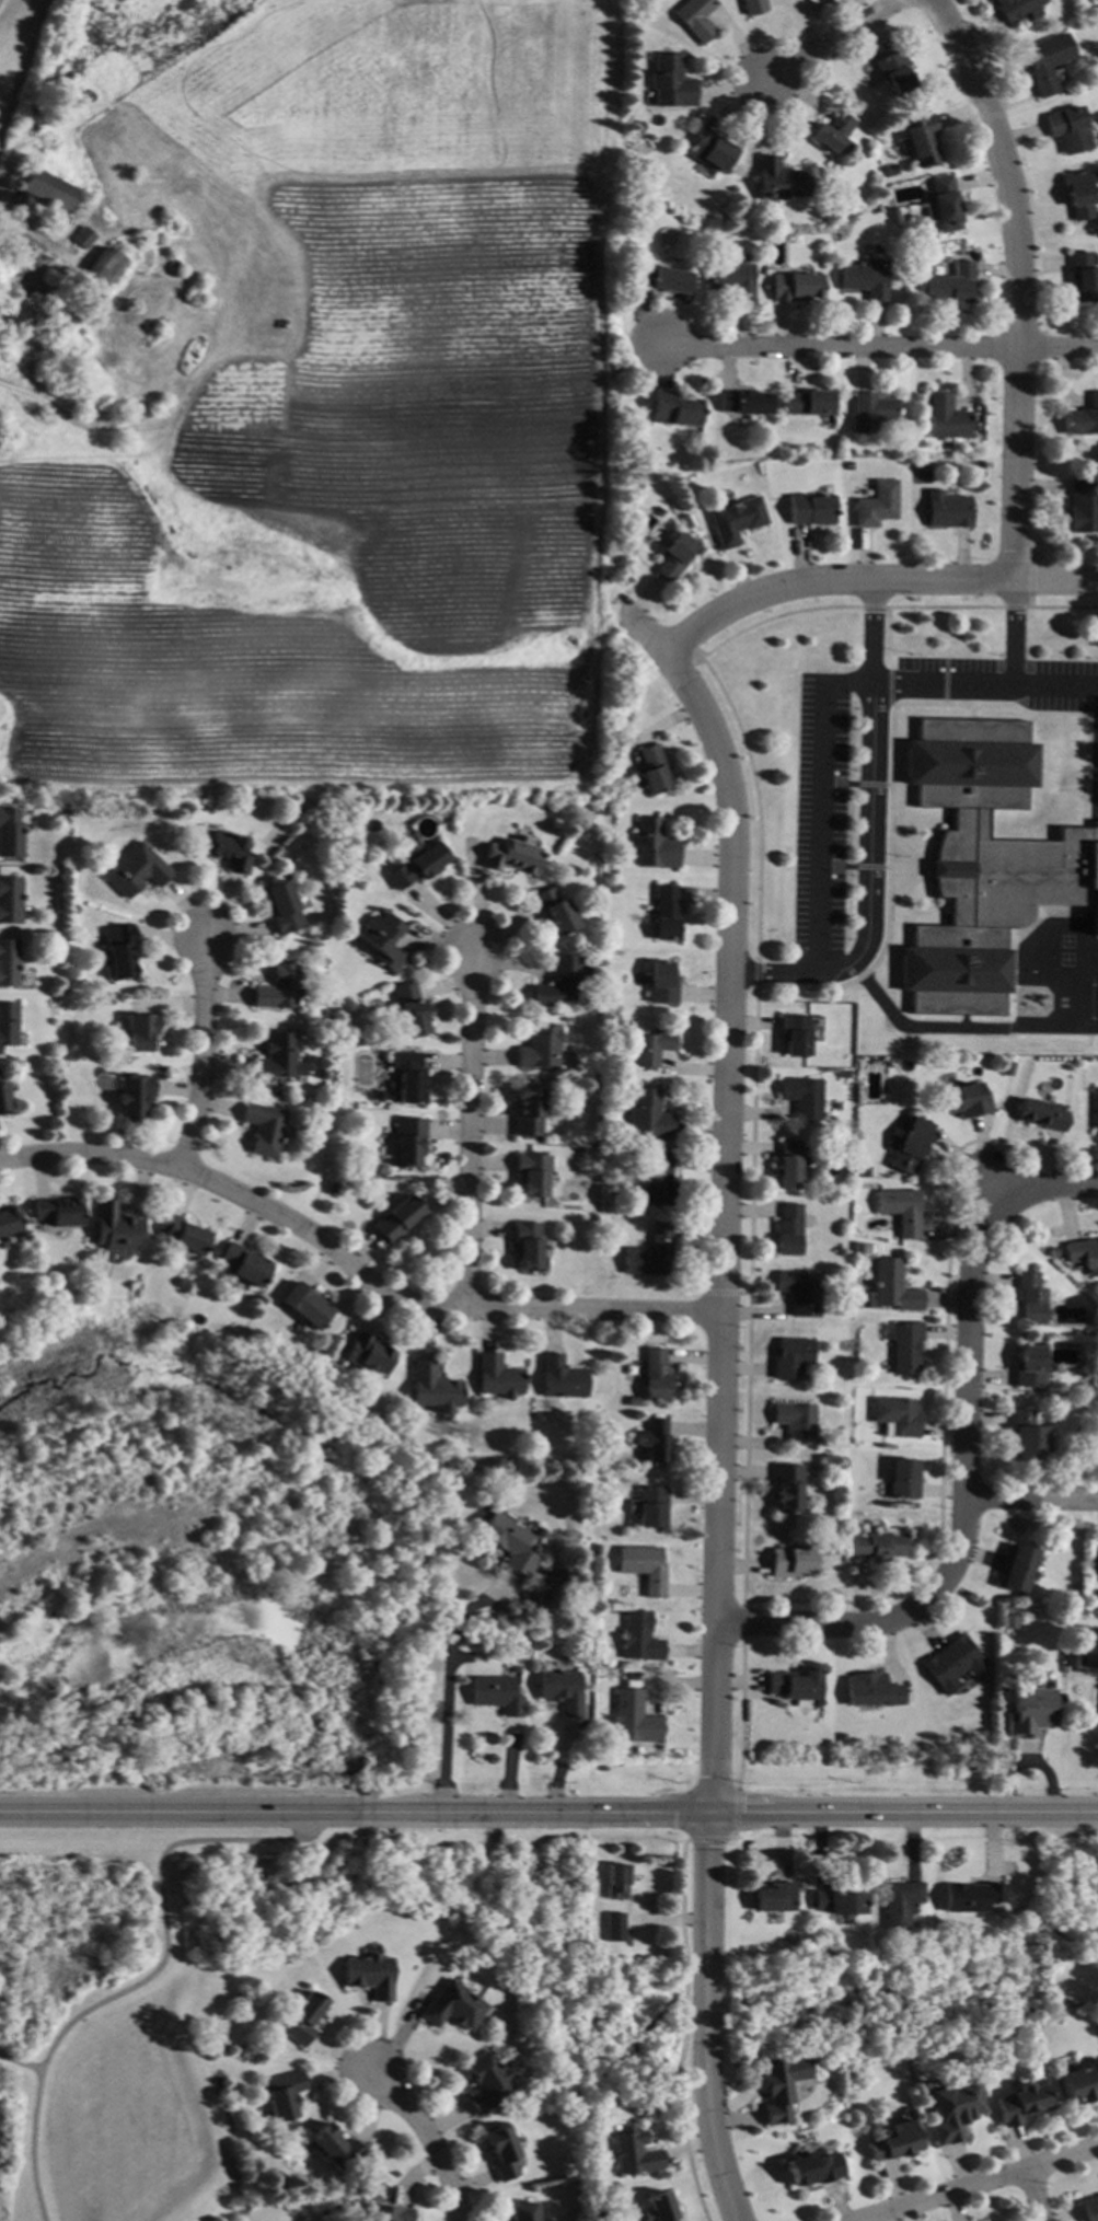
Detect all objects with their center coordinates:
building: (752, 5)
building: (1014, 8)
building: (694, 18)
road: (832, 39)
building: (1045, 61)
building: (894, 72)
building: (669, 82)
building: (59, 99)
building: (39, 123)
building: (1067, 129)
building: (831, 131)
building: (920, 139)
building: (708, 149)
building: (890, 170)
building: (777, 180)
building: (47, 189)
building: (1075, 195)
building: (944, 203)
building: (872, 207)
building: (50, 220)
road: (26, 236)
building: (82, 238)
building: (101, 270)
building: (11, 275)
building: (1082, 277)
building: (864, 278)
building: (660, 279)
building: (732, 279)
road: (1017, 279)
building: (950, 284)
building: (795, 286)
building: (47, 293)
building: (70, 312)
building: (55, 339)
road: (874, 344)
building: (38, 377)
building: (70, 379)
building: (743, 402)
building: (808, 403)
building: (86, 404)
building: (674, 408)
crop: (330, 409)
building: (870, 412)
building: (946, 417)
building: (1082, 418)
building: (876, 504)
building: (1080, 507)
building: (809, 509)
building: (947, 509)
building: (657, 510)
building: (735, 520)
building: (685, 521)
building: (673, 556)
road: (859, 580)
road: (1014, 628)
road: (941, 680)
road: (1055, 683)
building: (651, 770)
road: (869, 772)
building: (10, 832)
building: (652, 844)
building: (227, 848)
building: (511, 855)
building: (984, 863)
building: (417, 866)
building: (136, 870)
building: (10, 899)
building: (281, 905)
building: (554, 911)
building: (666, 913)
building: (383, 940)
building: (117, 951)
building: (9, 961)
road: (789, 976)
building: (558, 981)
building: (661, 983)
building: (278, 987)
building: (411, 1009)
building: (8, 1022)
road: (962, 1027)
building: (140, 1031)
building: (794, 1034)
building: (540, 1048)
building: (651, 1048)
road: (204, 1057)
building: (275, 1057)
building: (1006, 1067)
building: (843, 1073)
building: (409, 1076)
building: (378, 1095)
building: (132, 1096)
building: (802, 1096)
building: (4, 1098)
building: (966, 1099)
building: (834, 1104)
building: (1095, 1108)
building: (529, 1110)
building: (1041, 1114)
building: (648, 1117)
building: (264, 1129)
road: (470, 1129)
building: (409, 1141)
building: (908, 1145)
building: (788, 1164)
building: (533, 1172)
building: (863, 1172)
building: (656, 1180)
building: (333, 1188)
road: (712, 1192)
building: (614, 1196)
building: (899, 1208)
building: (57, 1211)
building: (397, 1217)
building: (9, 1218)
building: (115, 1227)
building: (788, 1230)
building: (182, 1235)
building: (528, 1247)
building: (837, 1250)
building: (649, 1252)
building: (1050, 1252)
building: (1080, 1252)
building: (244, 1264)
road: (344, 1268)
building: (183, 1283)
building: (891, 1286)
building: (799, 1291)
building: (1029, 1298)
building: (307, 1306)
building: (902, 1345)
building: (367, 1353)
building: (790, 1357)
building: (1028, 1366)
building: (628, 1369)
building: (655, 1374)
building: (498, 1376)
building: (560, 1377)
building: (432, 1387)
building: (633, 1400)
building: (895, 1415)
building: (796, 1421)
building: (1026, 1433)
building: (1097, 1435)
building: (652, 1439)
road: (961, 1460)
building: (903, 1479)
building: (787, 1487)
road: (1030, 1501)
building: (651, 1505)
building: (539, 1531)
building: (508, 1542)
building: (878, 1545)
building: (794, 1557)
building: (1096, 1564)
building: (644, 1566)
building: (1016, 1568)
building: (541, 1572)
building: (1075, 1592)
building: (544, 1599)
building: (1008, 1621)
building: (638, 1638)
building: (1086, 1649)
building: (952, 1663)
building: (515, 1669)
building: (794, 1684)
road: (448, 1687)
building: (560, 1690)
building: (871, 1690)
building: (495, 1693)
building: (1029, 1712)
building: (633, 1719)
building: (842, 1738)
building: (817, 1747)
building: (969, 1766)
building: (602, 1767)
road: (548, 1812)
building: (615, 1882)
building: (774, 1897)
building: (969, 1897)
building: (837, 1902)
building: (899, 1904)
road: (161, 1906)
building: (614, 1928)
building: (369, 1976)
park: (158, 1991)
building: (450, 2006)
building: (302, 2017)
road: (705, 2018)
road: (19, 2061)
building: (485, 2083)
building: (1079, 2083)
building: (778, 2089)
building: (284, 2095)
building: (1020, 2103)
building: (952, 2110)
road: (425, 2140)
building: (893, 2141)
road: (32, 2144)
building: (335, 2148)
building: (501, 2152)
building: (631, 2152)
building: (811, 2170)
road: (986, 2183)
road: (1031, 2196)
building: (657, 2208)
building: (1090, 2209)
building: (523, 2212)
building: (390, 2213)
building: (360, 2219)

